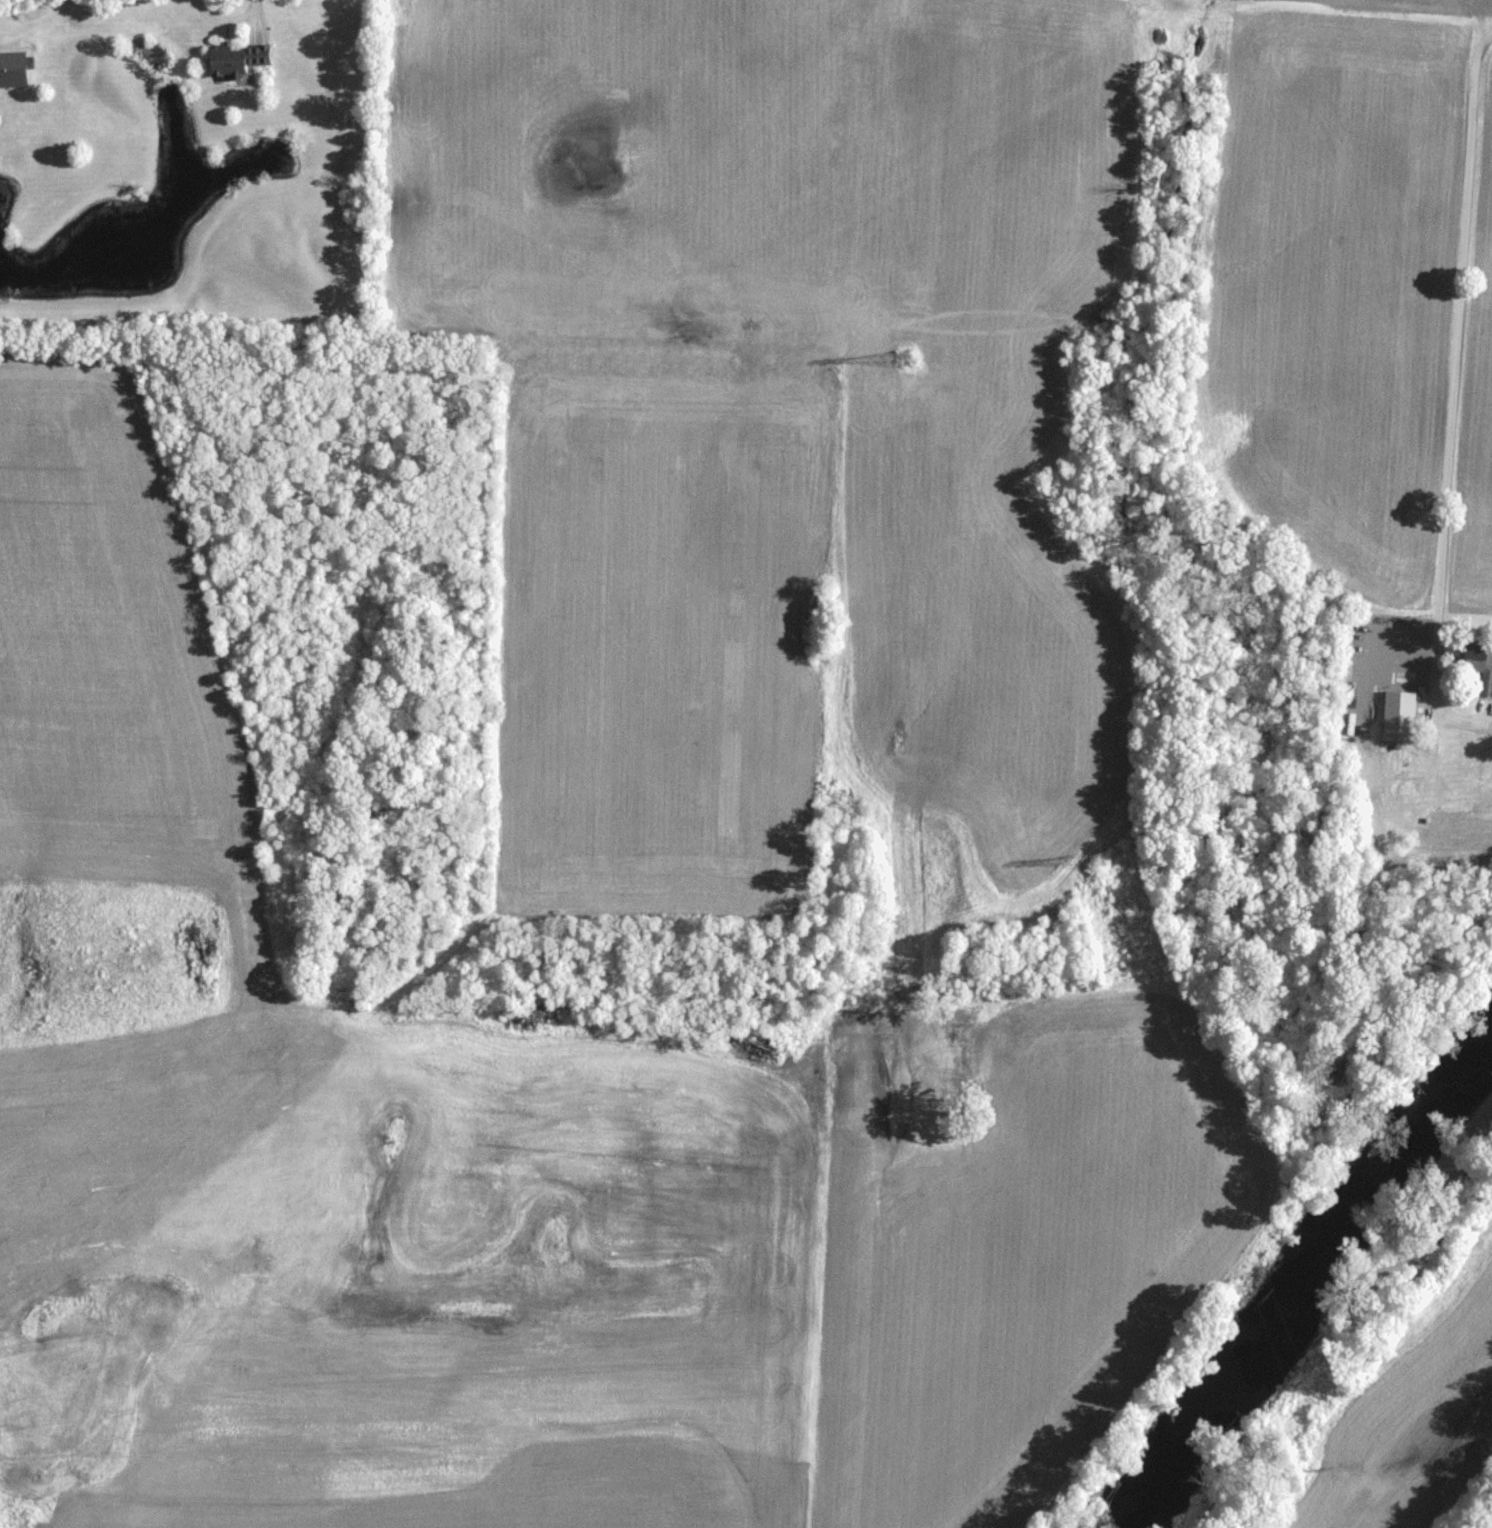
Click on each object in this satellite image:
road: (38, 21)
building: (221, 61)
building: (9, 68)
road: (1455, 360)
building: (1395, 715)
river: (1336, 1320)

